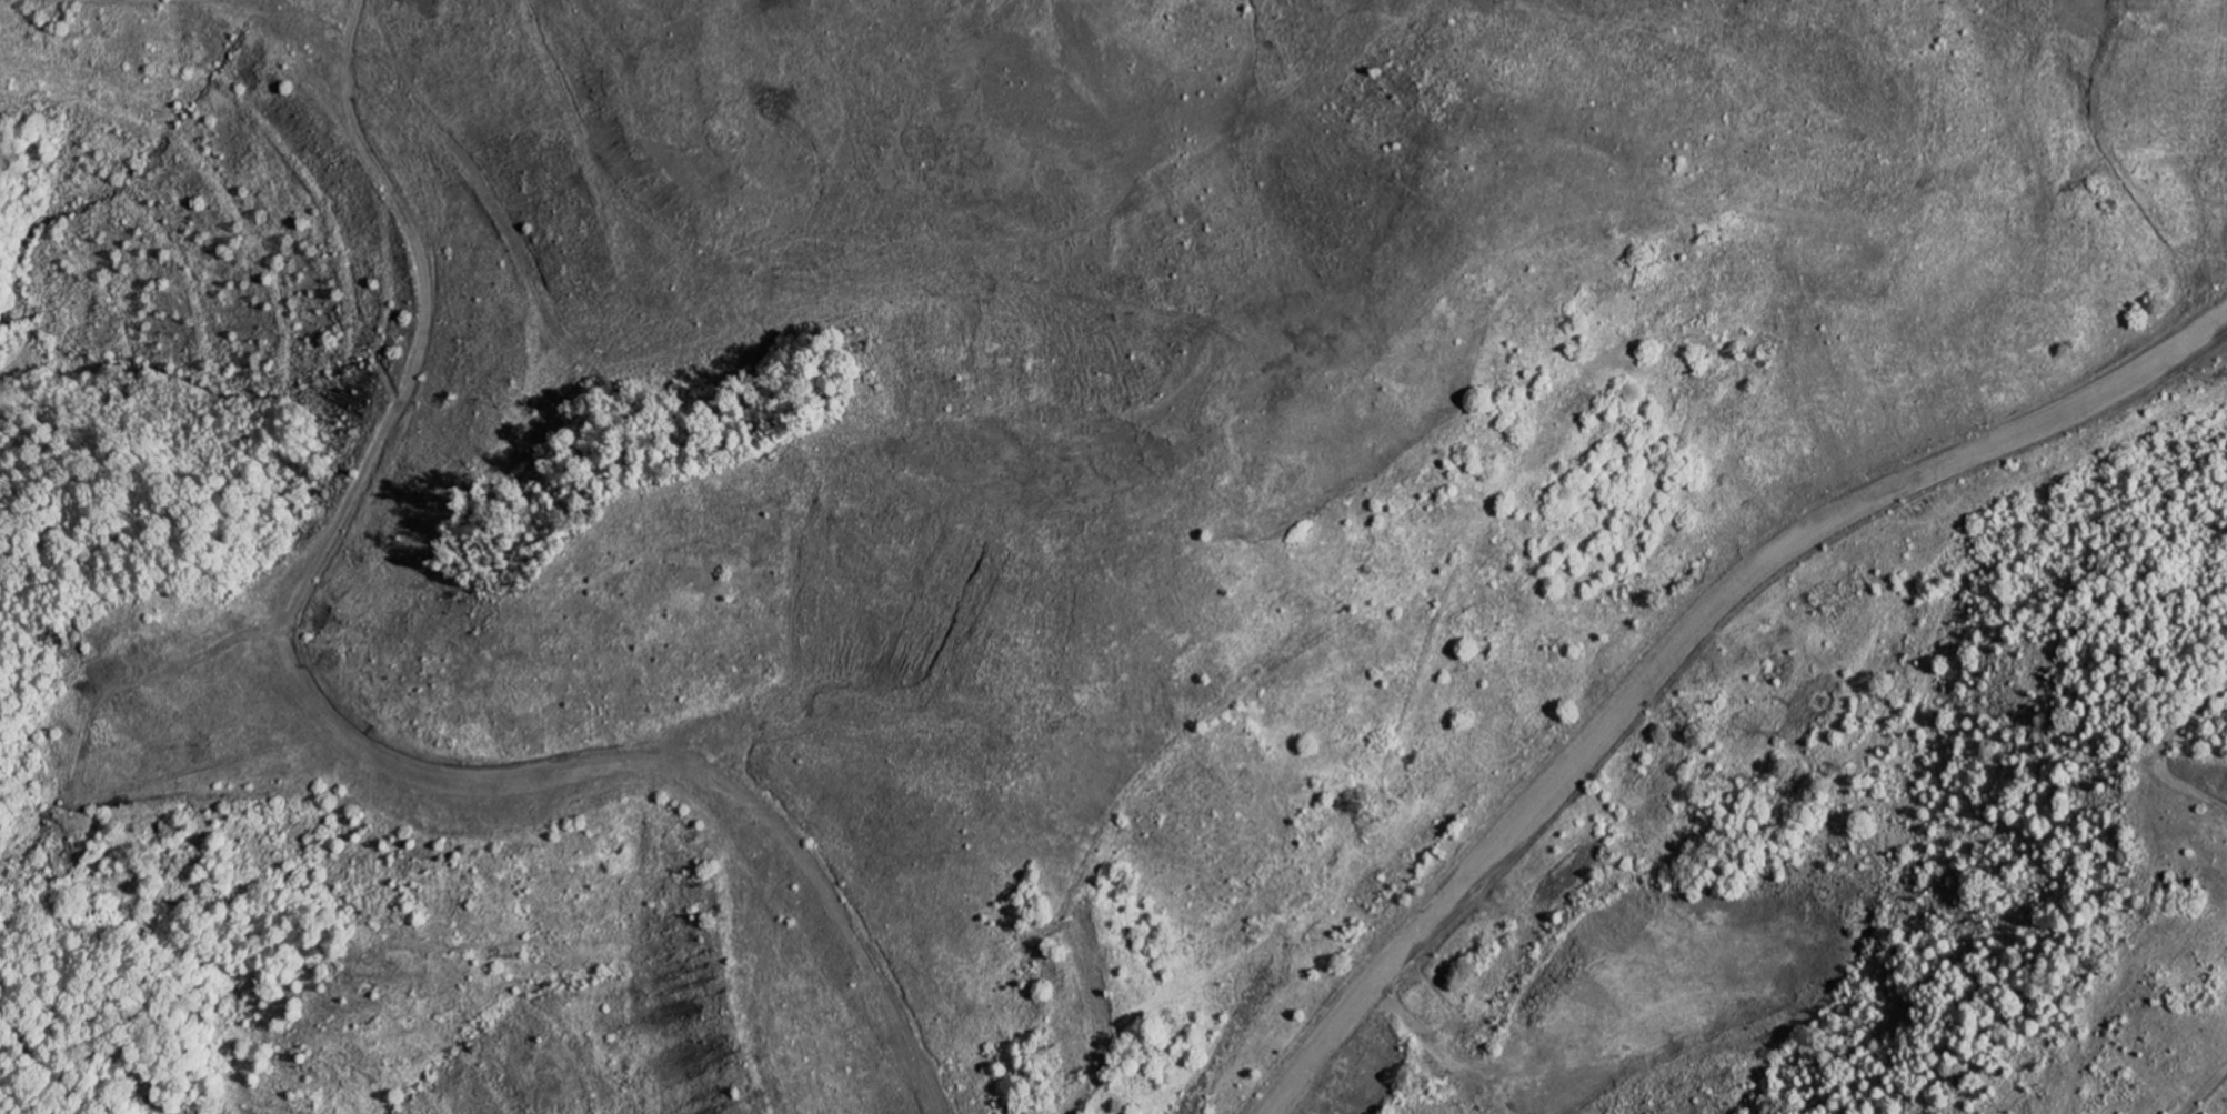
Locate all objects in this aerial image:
road: (1685, 633)

